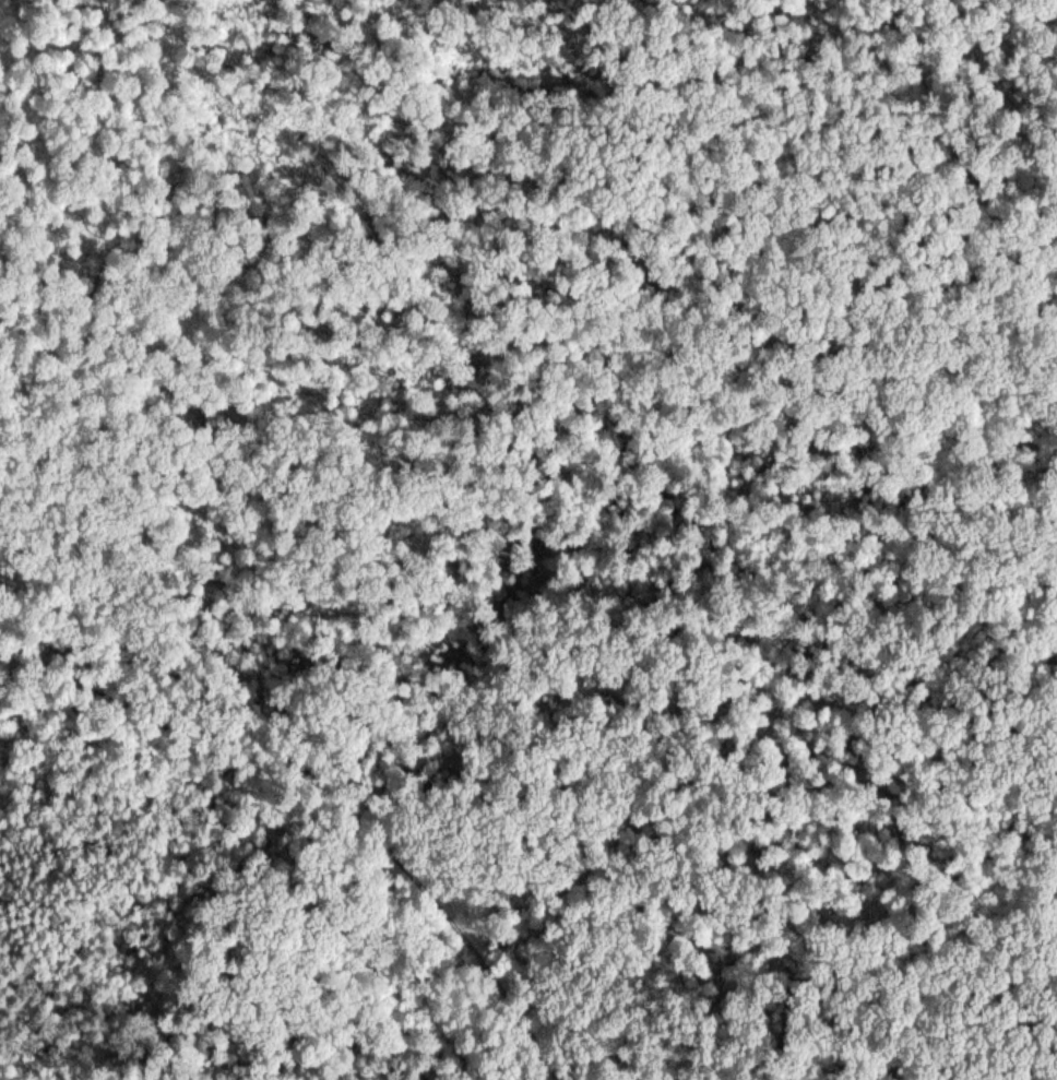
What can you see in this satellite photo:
road: (265, 836)

